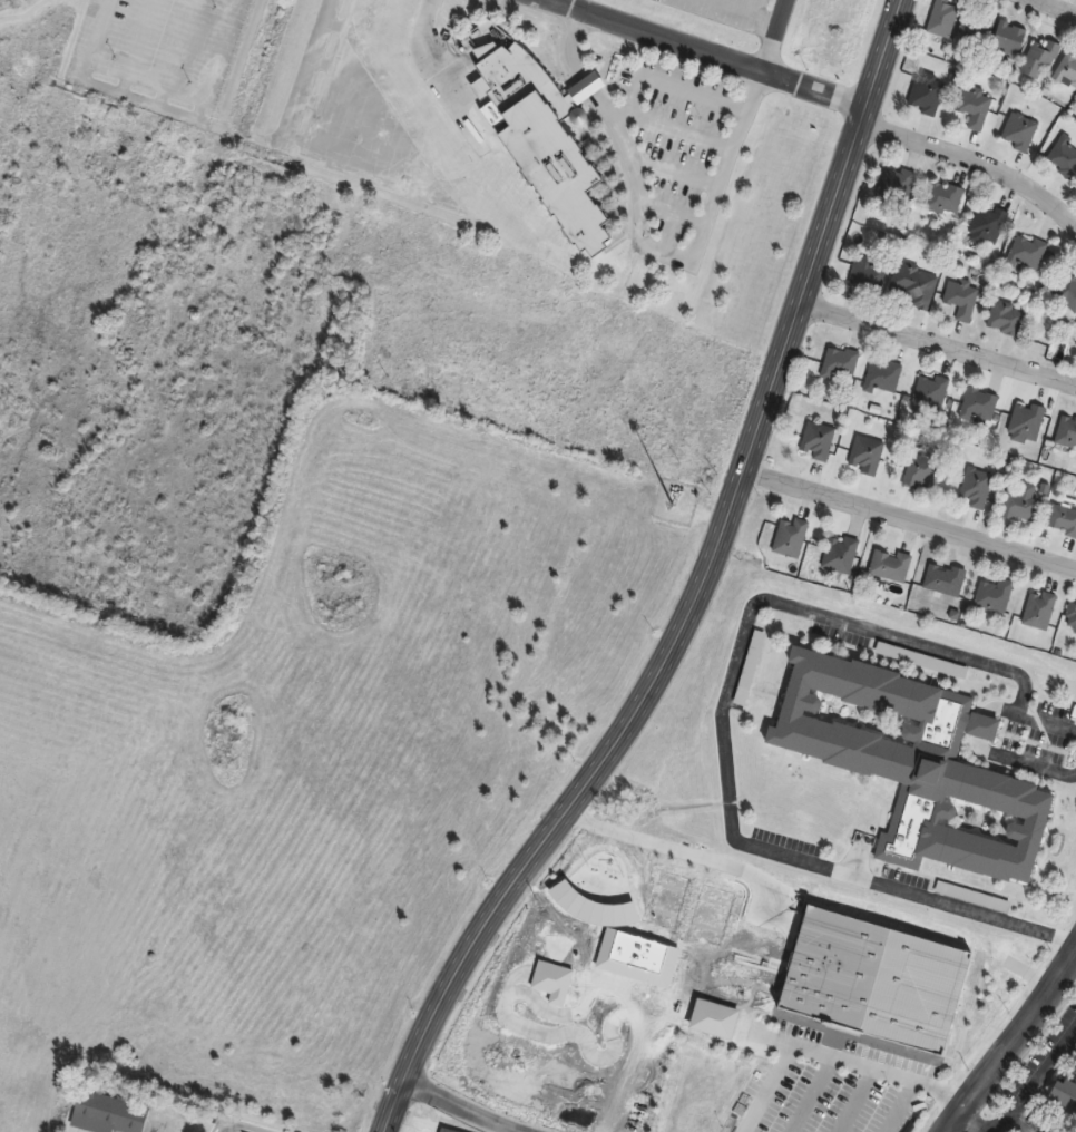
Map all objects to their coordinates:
road: (555, 0)
road: (1055, 9)
parking lot: (725, 11)
road: (752, 12)
road: (26, 14)
building: (943, 18)
building: (977, 25)
road: (785, 36)
building: (1010, 39)
road: (139, 48)
parking lot: (159, 53)
road: (178, 53)
road: (714, 53)
building: (1040, 59)
road: (217, 60)
building: (1067, 70)
road: (309, 71)
road: (437, 78)
road: (102, 88)
road: (676, 88)
building: (928, 94)
building: (975, 108)
road: (672, 128)
building: (1020, 131)
parking lot: (674, 137)
building: (547, 139)
building: (1064, 157)
road: (981, 163)
road: (676, 172)
building: (897, 185)
building: (945, 198)
road: (673, 214)
building: (988, 225)
road: (646, 244)
building: (1027, 254)
building: (869, 275)
building: (914, 286)
building: (1068, 293)
building: (962, 300)
building: (1007, 319)
road: (942, 347)
building: (840, 364)
building: (883, 377)
building: (930, 396)
building: (980, 407)
building: (1027, 422)
building: (1067, 432)
building: (818, 441)
building: (868, 455)
building: (922, 472)
building: (977, 488)
building: (1021, 507)
building: (1063, 520)
road: (914, 523)
building: (791, 539)
building: (841, 555)
building: (891, 566)
building: (945, 580)
road: (705, 595)
building: (995, 596)
building: (1040, 611)
building: (1072, 617)
road: (724, 710)
building: (975, 897)
road: (746, 1031)
road: (1010, 1041)
road: (829, 1056)
road: (1035, 1082)
road: (805, 1093)
building: (1064, 1097)
road: (851, 1100)
road: (896, 1106)
road: (459, 1107)
building: (109, 1114)
road: (968, 1122)
road: (238, 1126)

